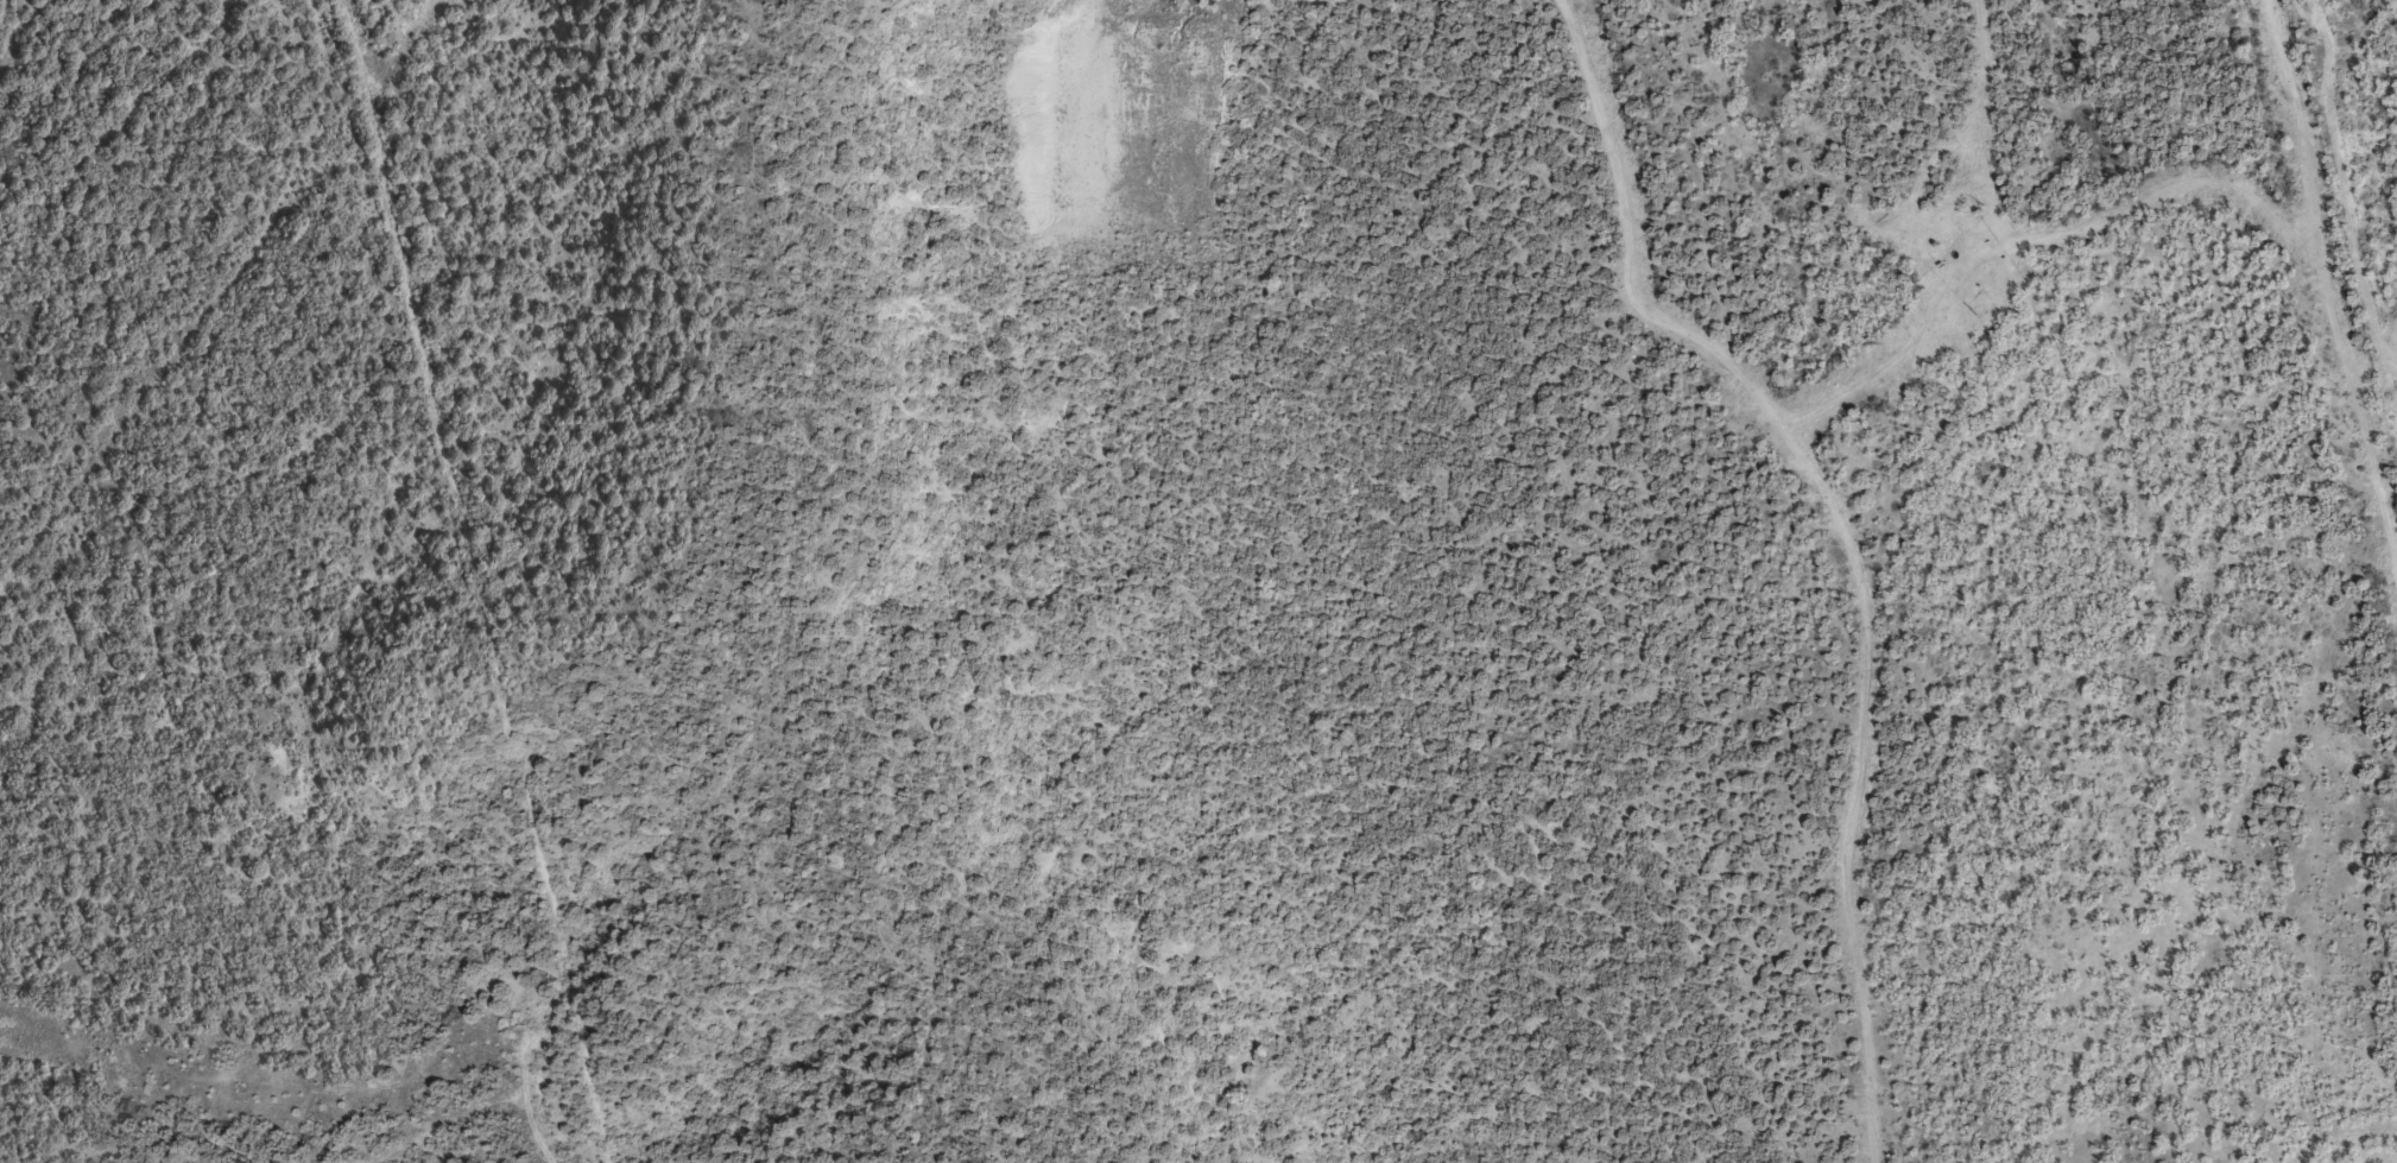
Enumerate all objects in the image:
road: (2308, 179)
road: (2386, 329)
road: (2386, 348)
road: (2367, 461)
road: (2359, 1127)

